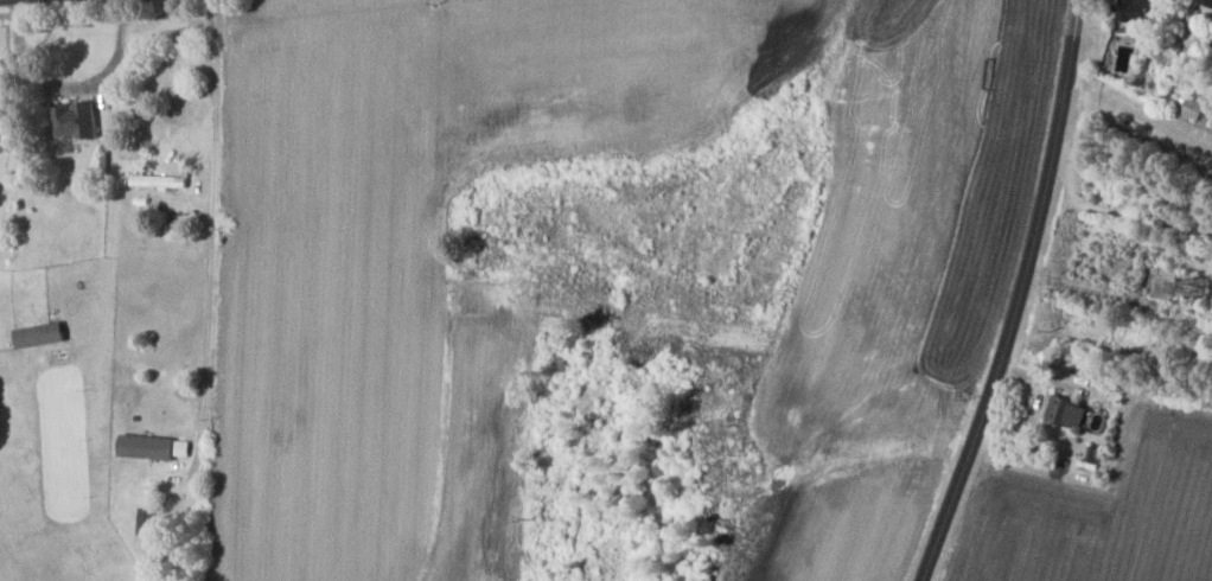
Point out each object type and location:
building: (1206, 1)
building: (1136, 11)
road: (72, 84)
road: (1137, 114)
building: (78, 124)
building: (161, 181)
road: (212, 238)
building: (1168, 283)
building: (1200, 286)
road: (1018, 295)
building: (43, 334)
building: (1069, 413)
building: (155, 447)
building: (151, 522)

